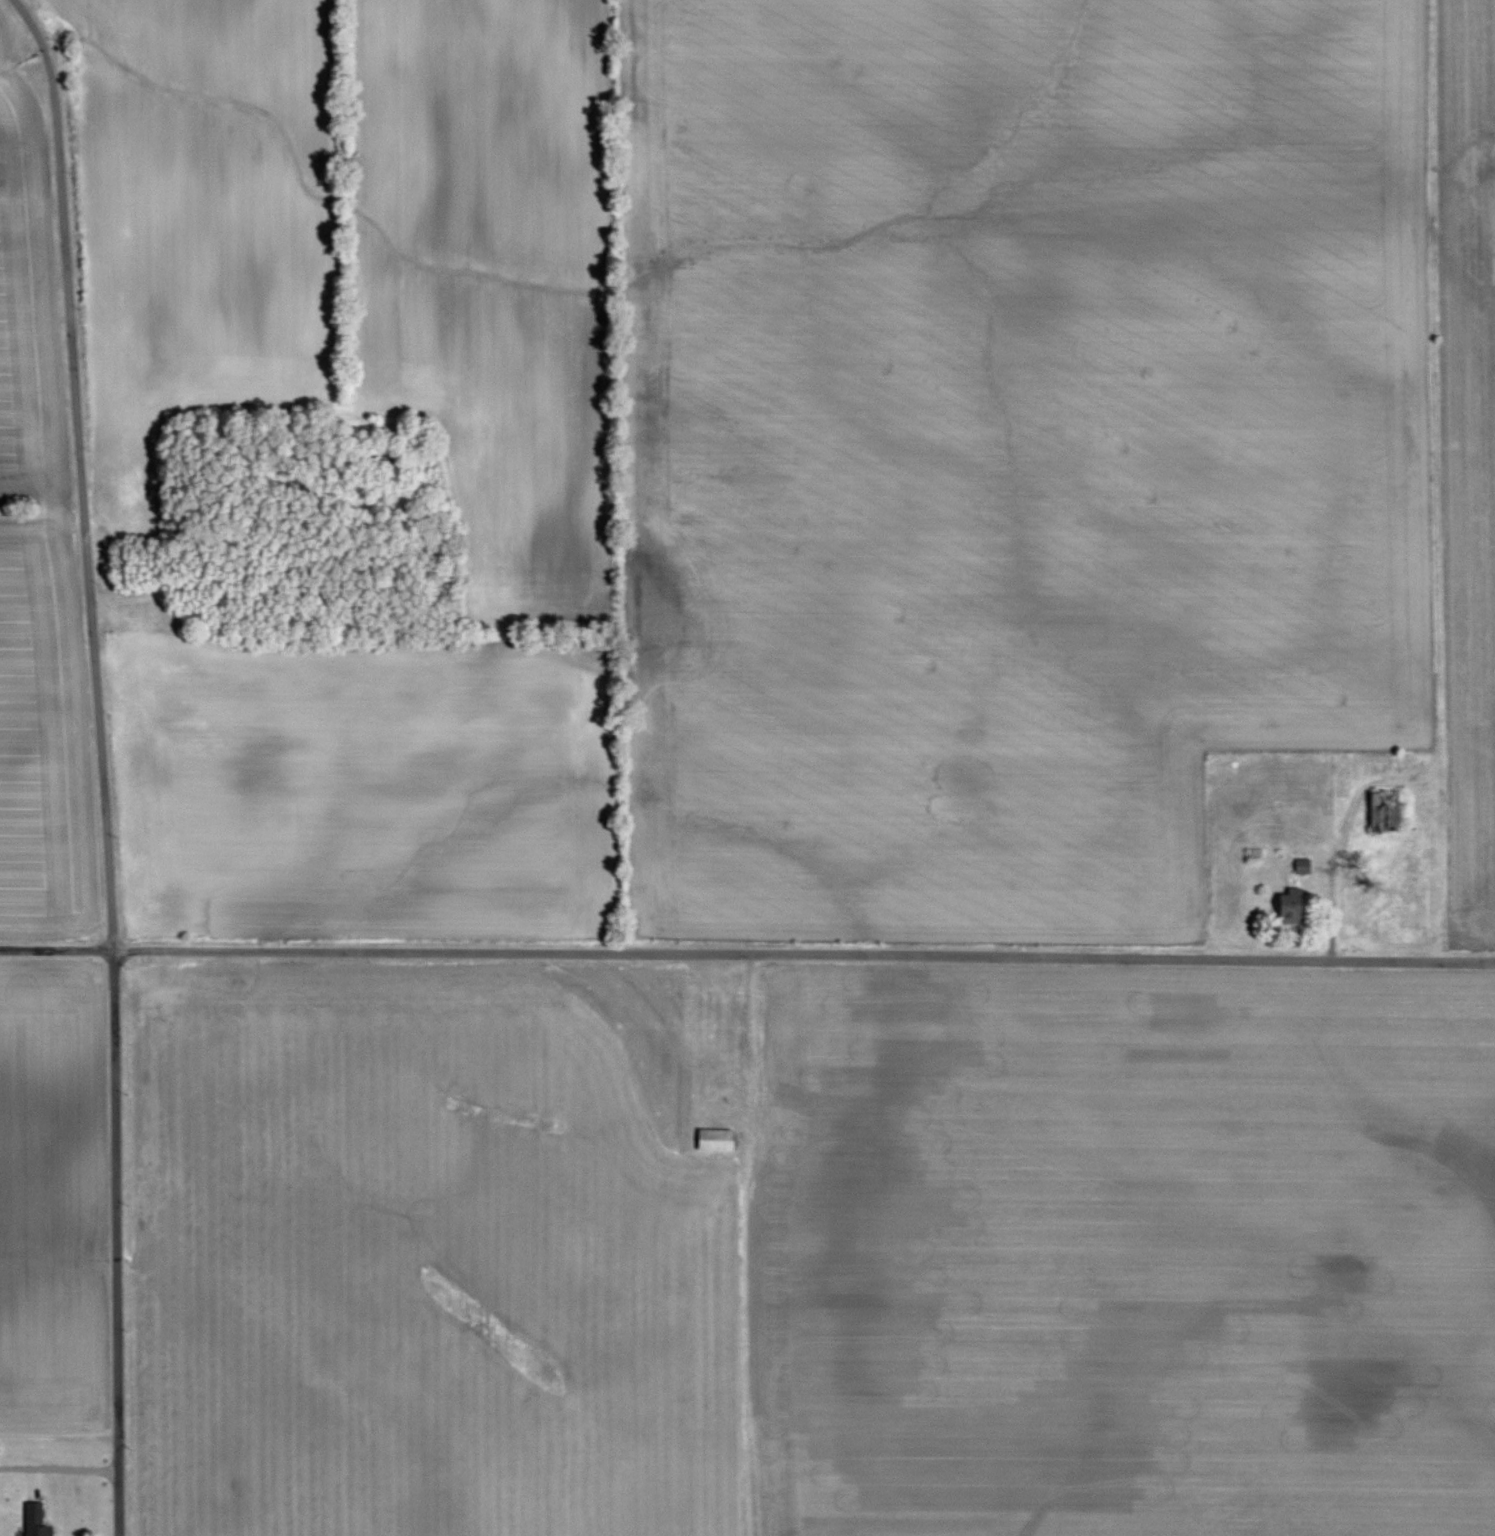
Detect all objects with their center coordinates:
road: (101, 761)
building: (1290, 909)
road: (747, 952)
road: (751, 1047)
building: (717, 1139)
road: (60, 1469)
building: (35, 1521)

